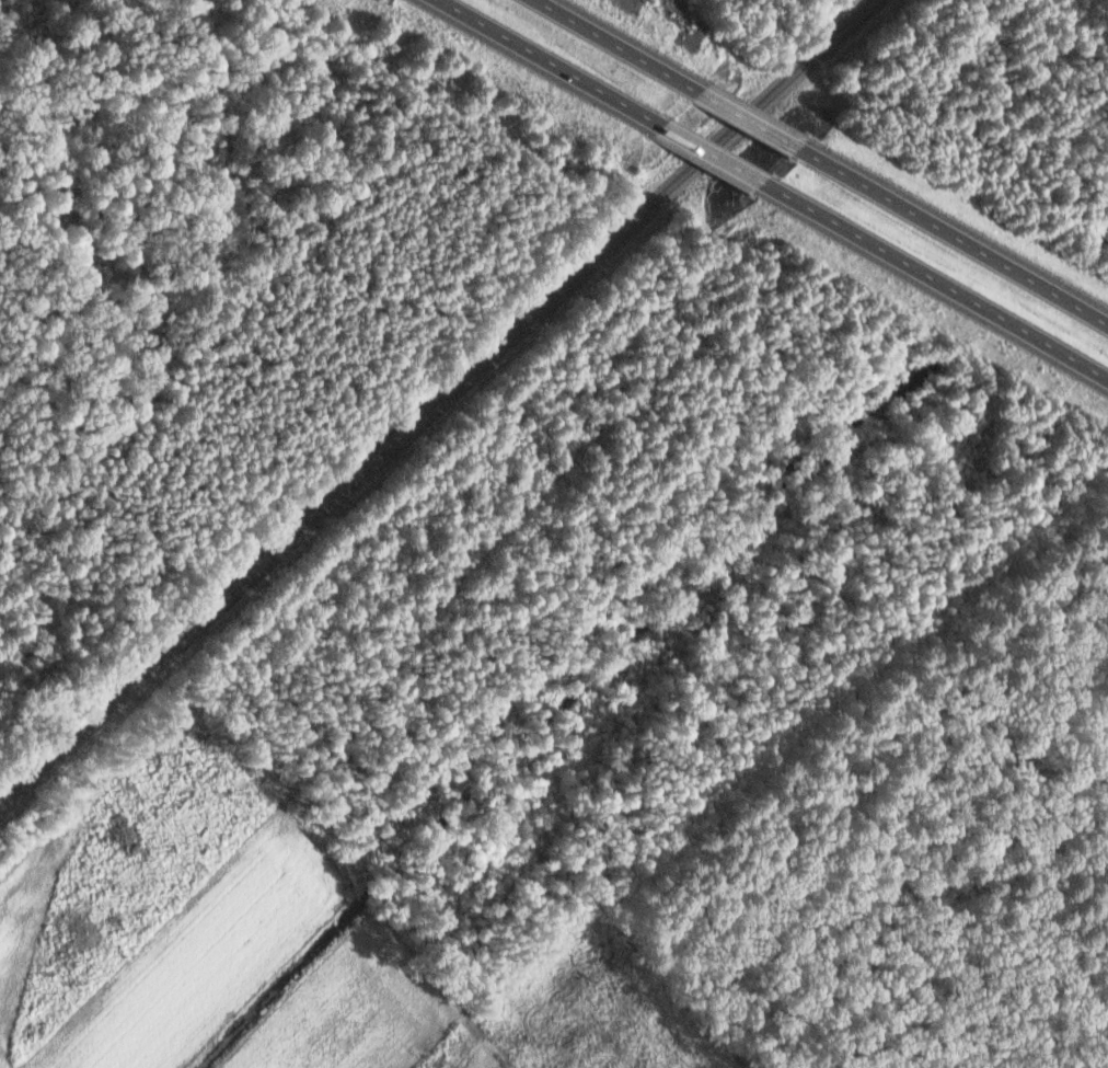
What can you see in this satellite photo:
road: (610, 46)
road: (543, 62)
road: (740, 119)
road: (703, 153)
road: (948, 237)
road: (930, 280)
railway: (438, 400)

